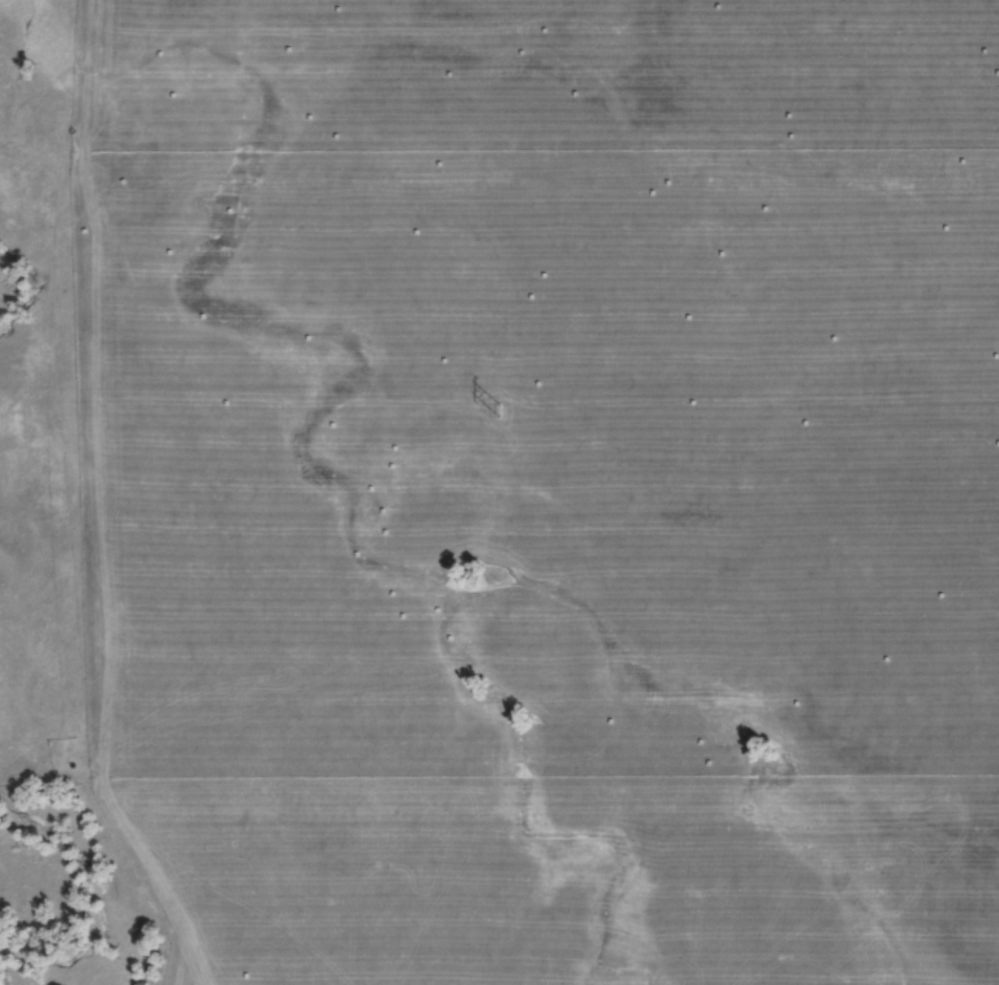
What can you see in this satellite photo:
power tower: (497, 412)

